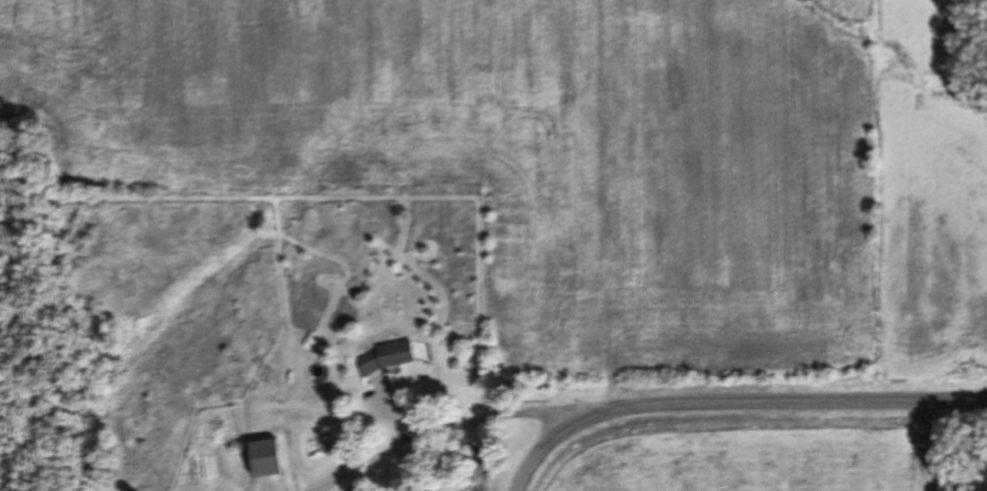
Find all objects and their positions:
building: (385, 356)
road: (733, 402)
road: (438, 430)
building: (264, 456)

